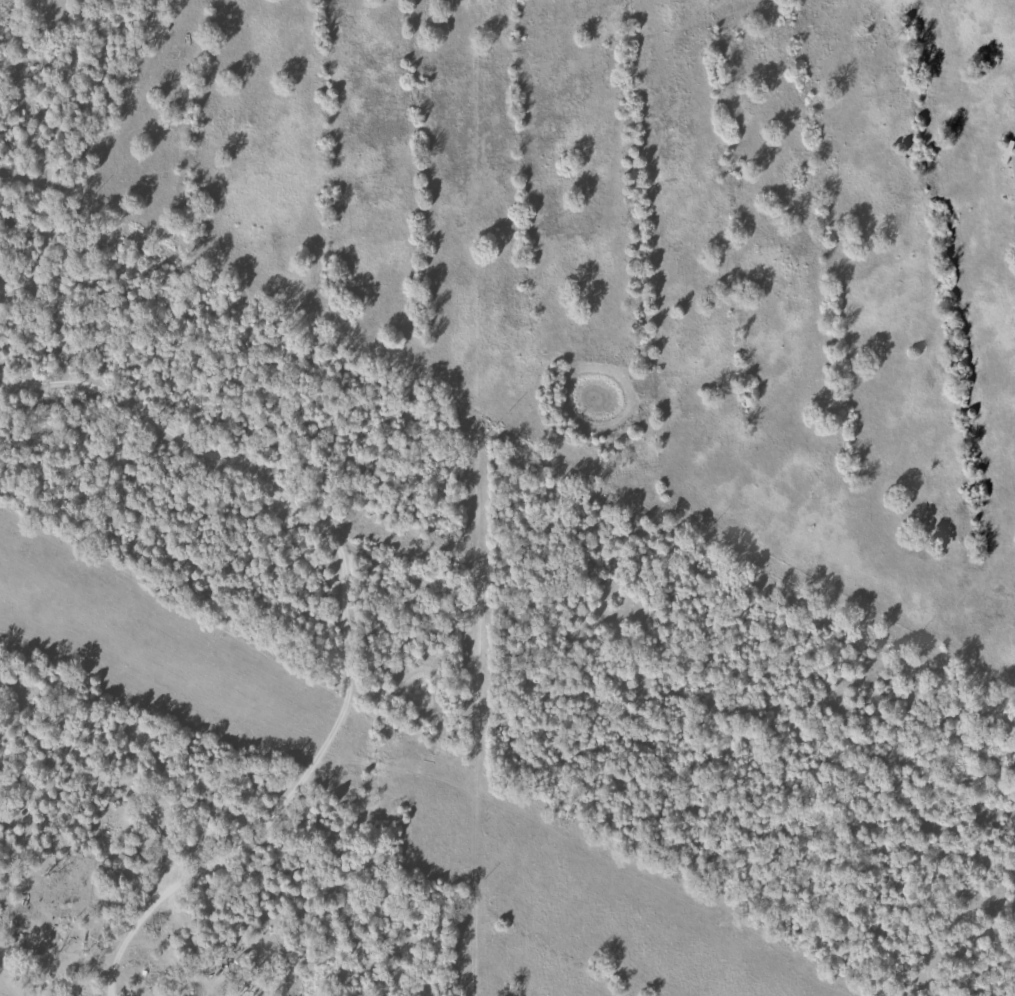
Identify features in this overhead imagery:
road: (178, 33)
road: (344, 624)

